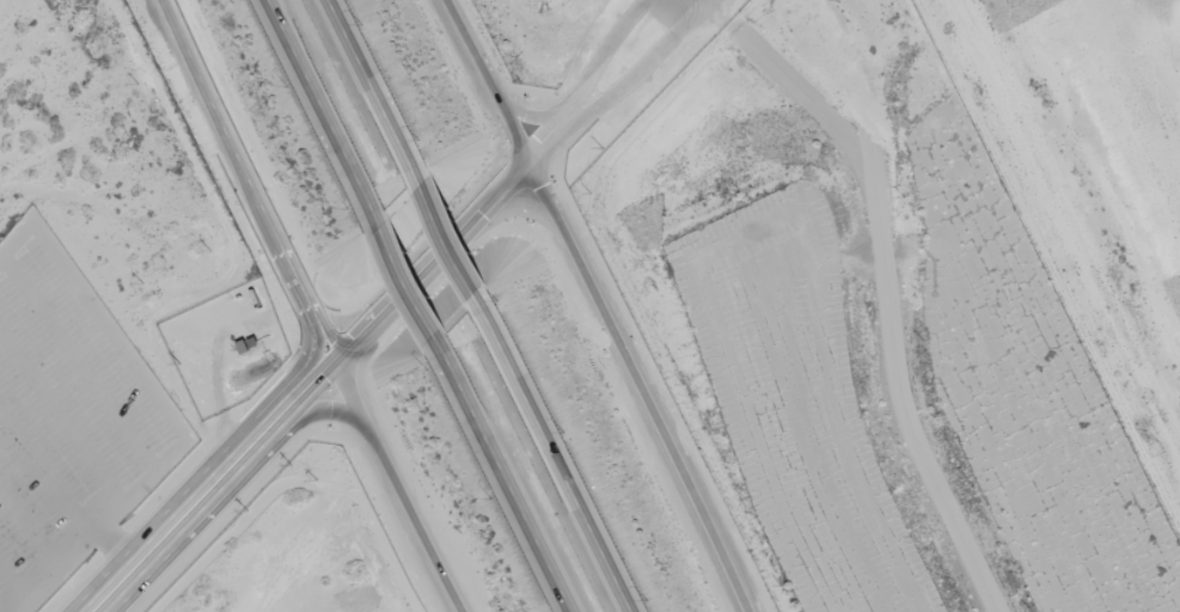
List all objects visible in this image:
road: (378, 87)
road: (324, 110)
road: (458, 251)
road: (885, 282)
road: (414, 289)
road: (403, 298)
road: (597, 305)
road: (306, 308)
road: (365, 312)
road: (564, 470)
road: (509, 484)

